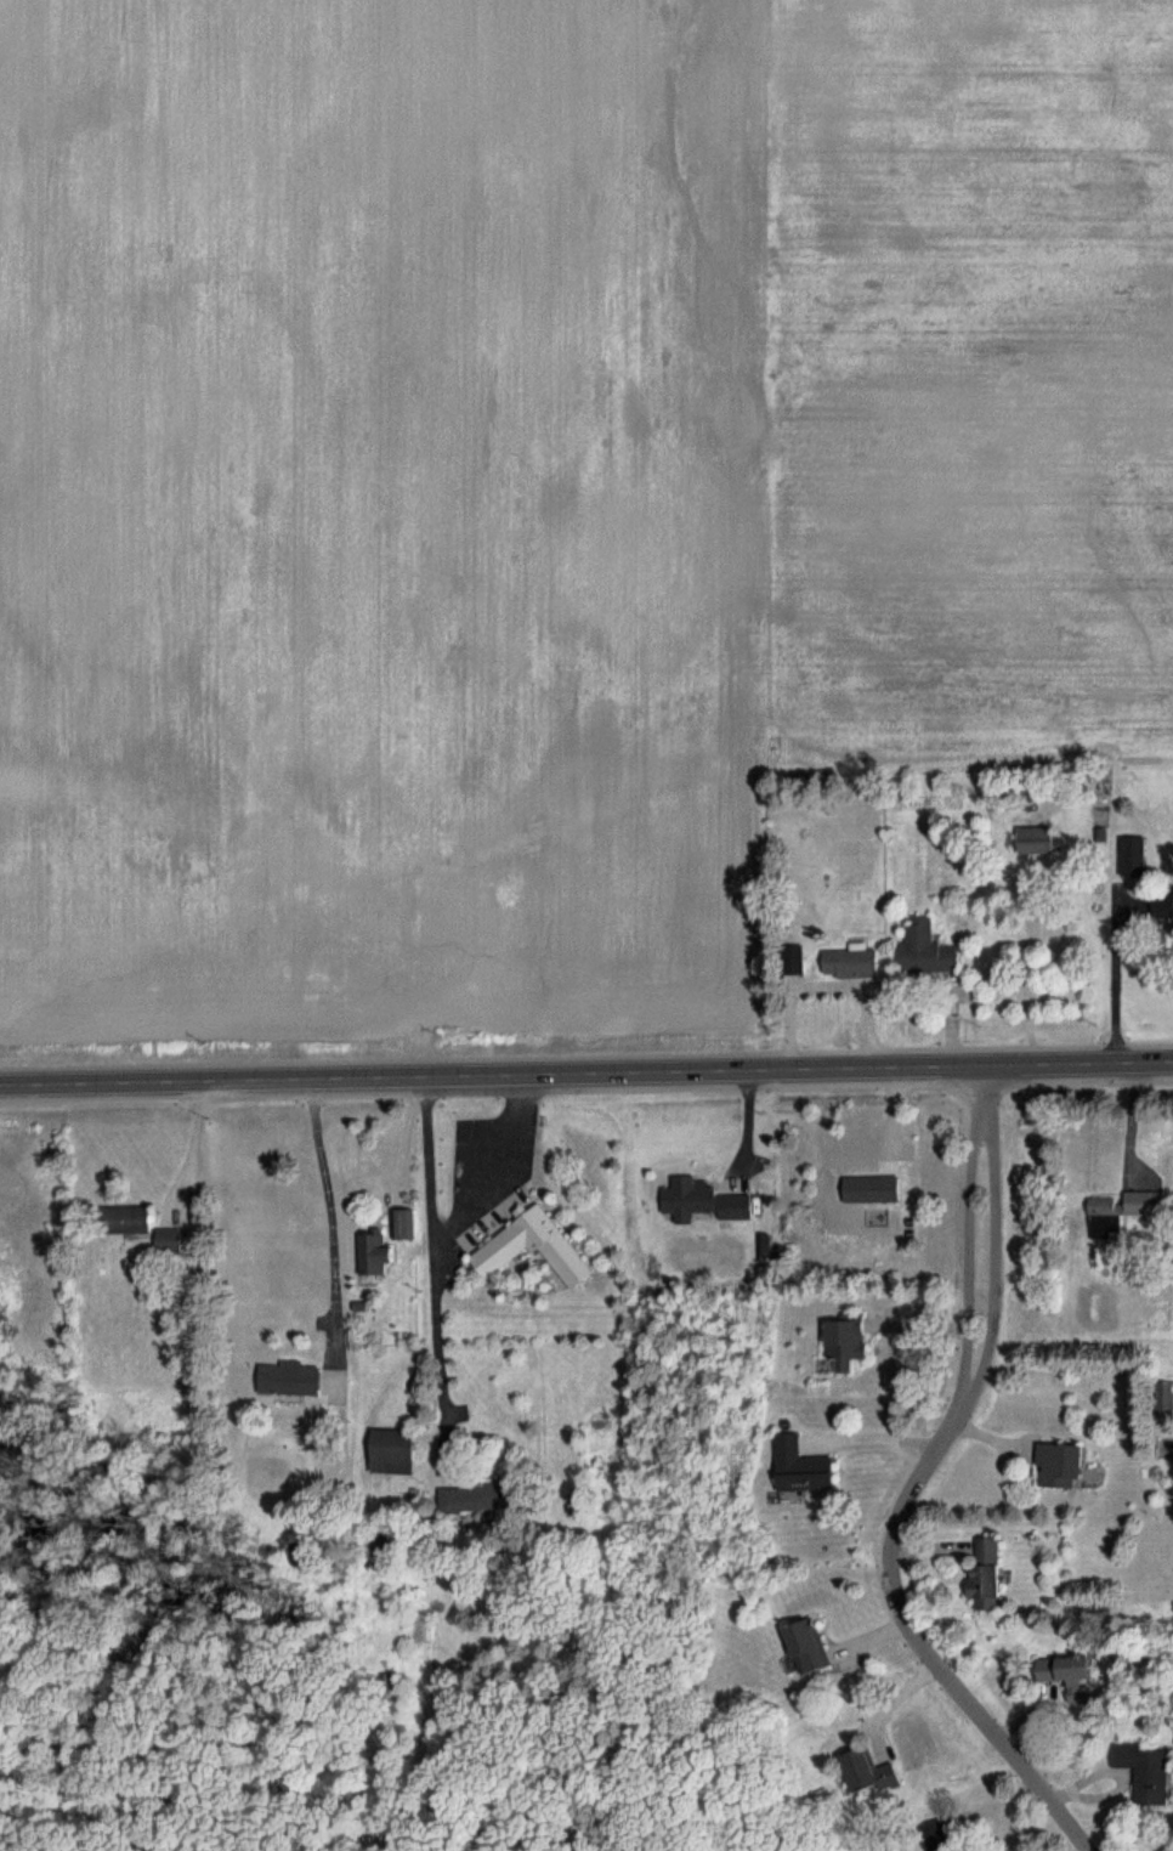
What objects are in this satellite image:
building: (1037, 840)
building: (1134, 857)
building: (1163, 908)
building: (926, 951)
building: (797, 961)
building: (852, 964)
road: (1106, 981)
road: (586, 1072)
building: (708, 1204)
building: (1127, 1205)
road: (345, 1212)
building: (127, 1221)
building: (406, 1221)
building: (170, 1241)
building: (534, 1249)
building: (375, 1255)
road: (432, 1266)
building: (840, 1330)
building: (291, 1380)
building: (1164, 1398)
building: (395, 1453)
building: (1055, 1455)
building: (794, 1457)
road: (909, 1483)
building: (469, 1499)
building: (982, 1567)
building: (805, 1636)
building: (1065, 1666)
building: (866, 1762)
building: (1138, 1764)
building: (935, 1832)

